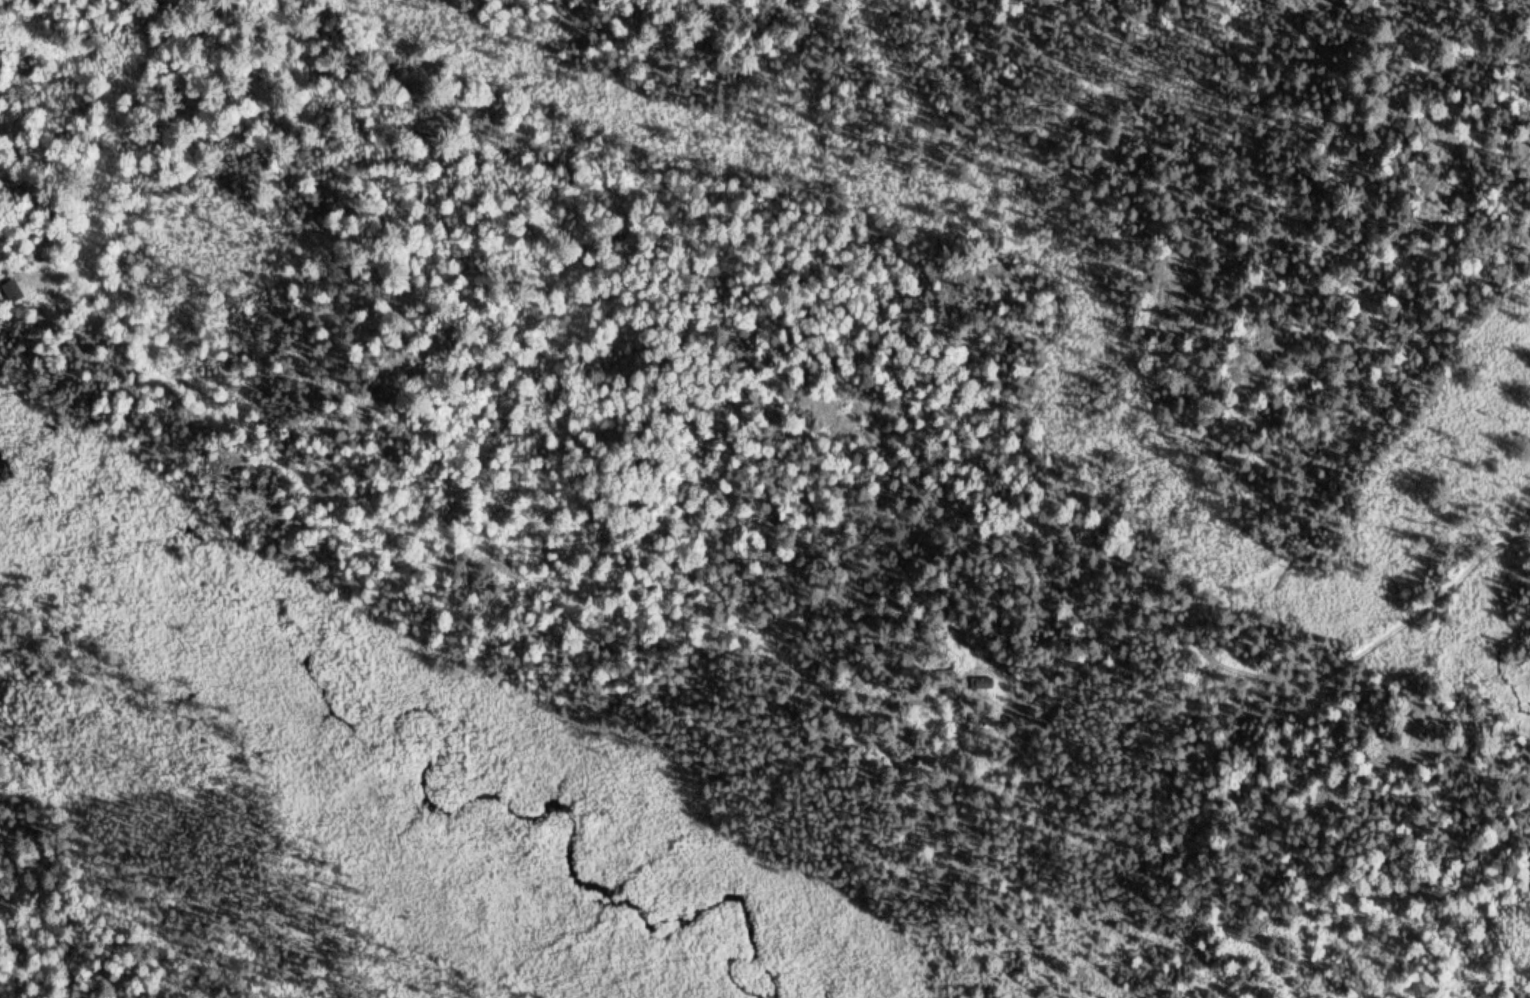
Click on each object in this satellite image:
building: (17, 289)
road: (1421, 611)
road: (1430, 987)
road: (1091, 995)

